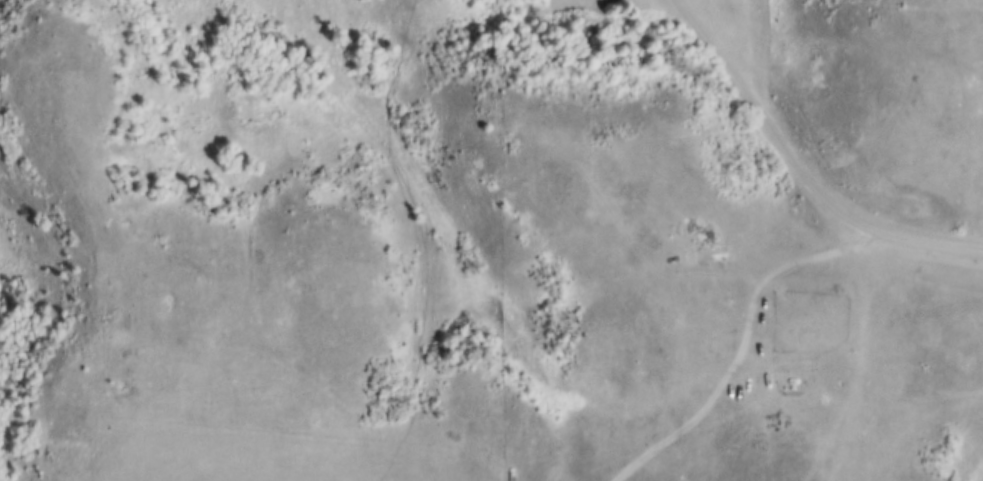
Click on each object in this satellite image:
road: (800, 167)
road: (747, 353)

